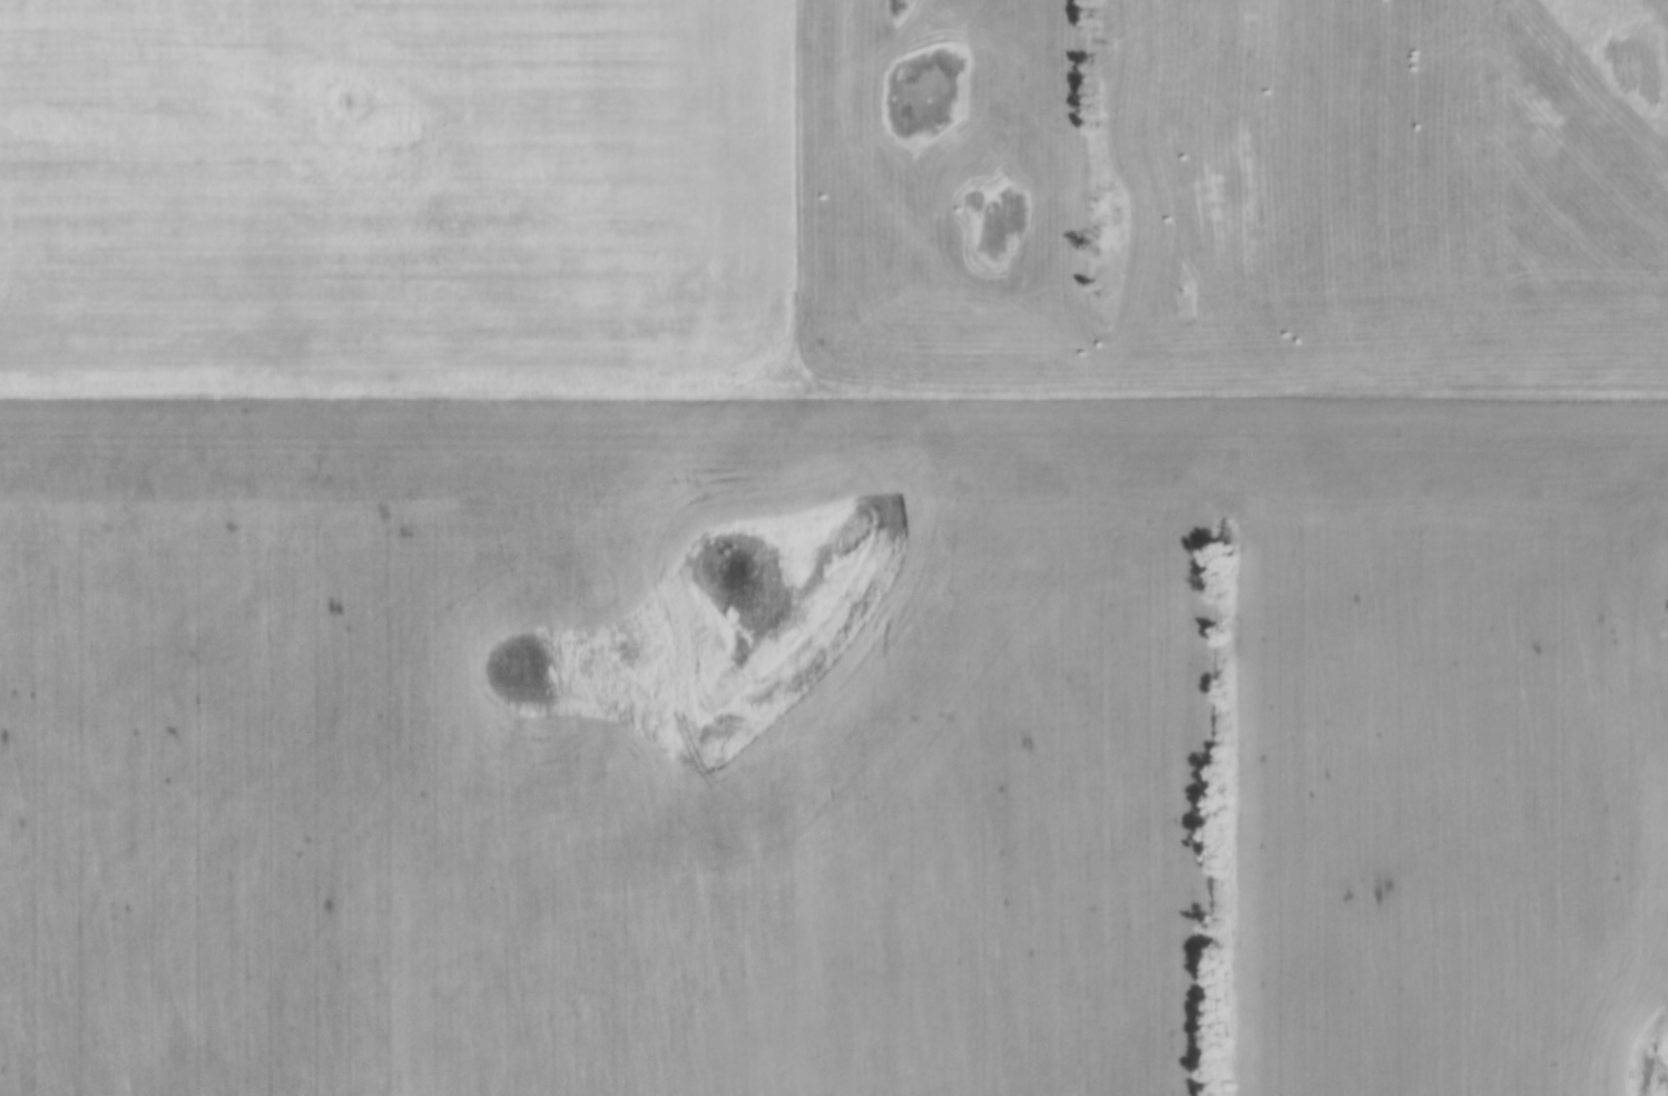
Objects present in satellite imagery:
building: (1619, 79)
crop: (387, 186)
road: (834, 393)

